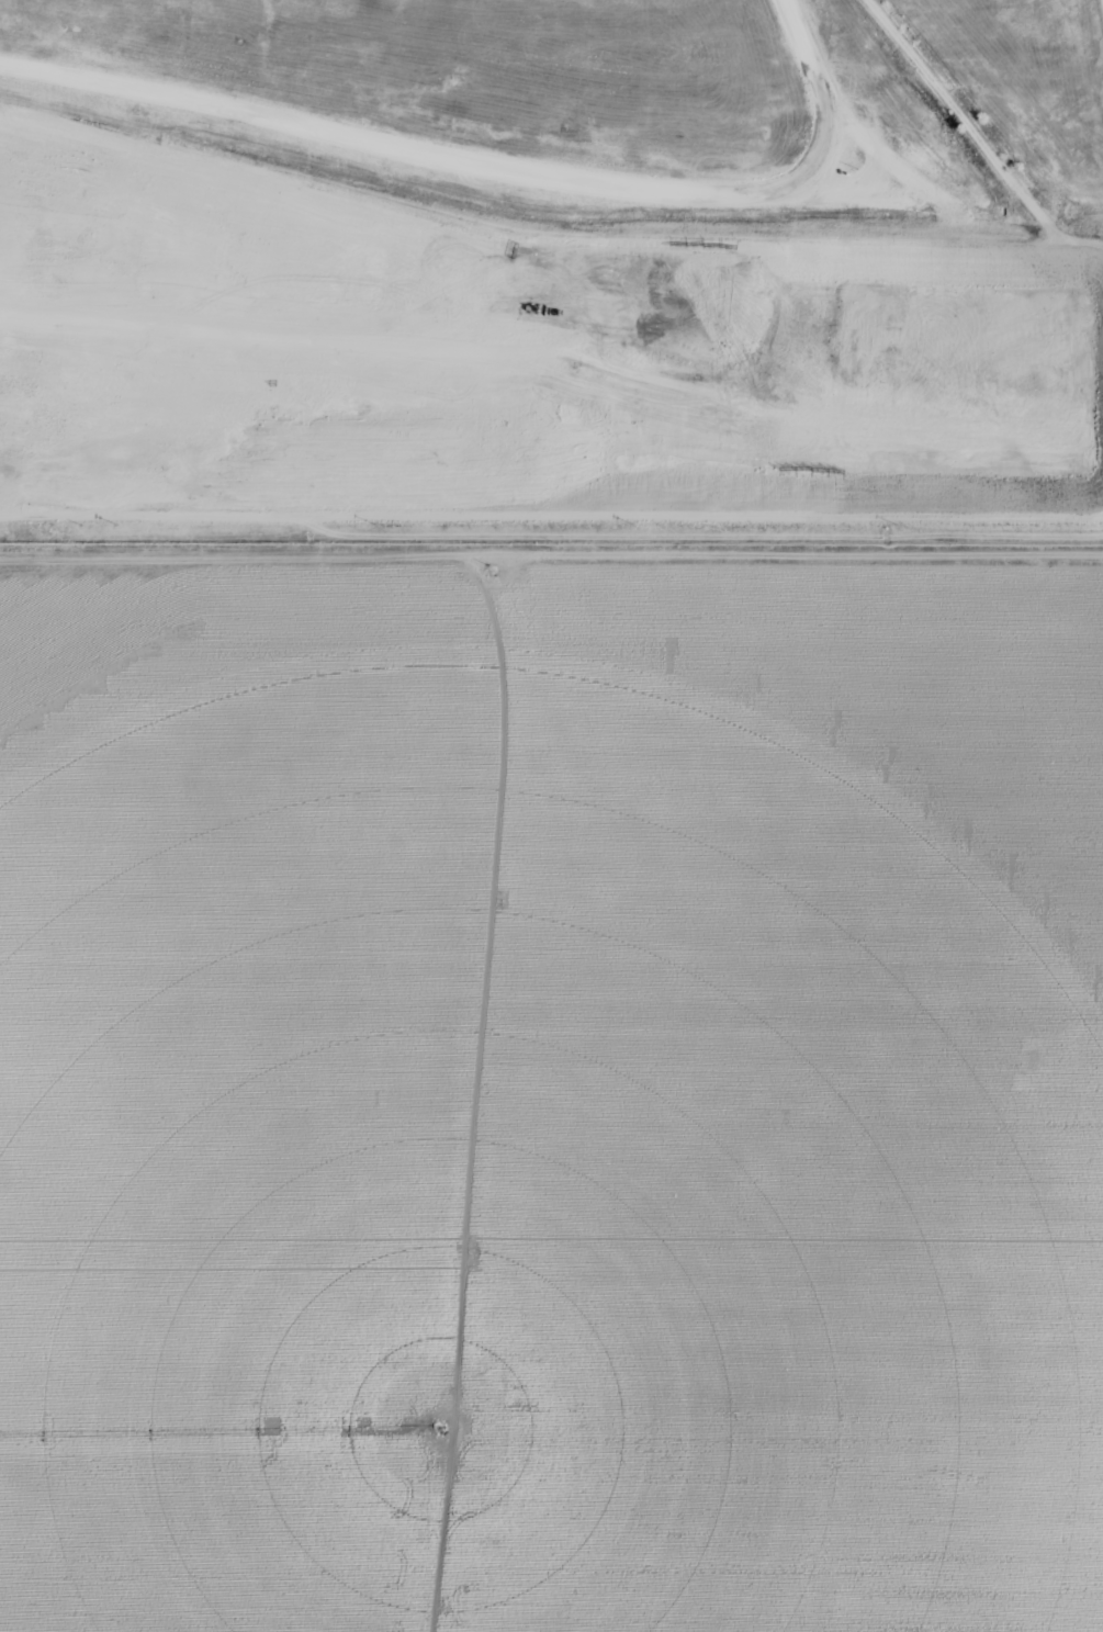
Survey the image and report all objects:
road: (1102, 2)
road: (977, 137)
road: (496, 162)
road: (521, 238)
landfill: (551, 267)
road: (248, 338)
road: (551, 516)
road: (551, 552)

